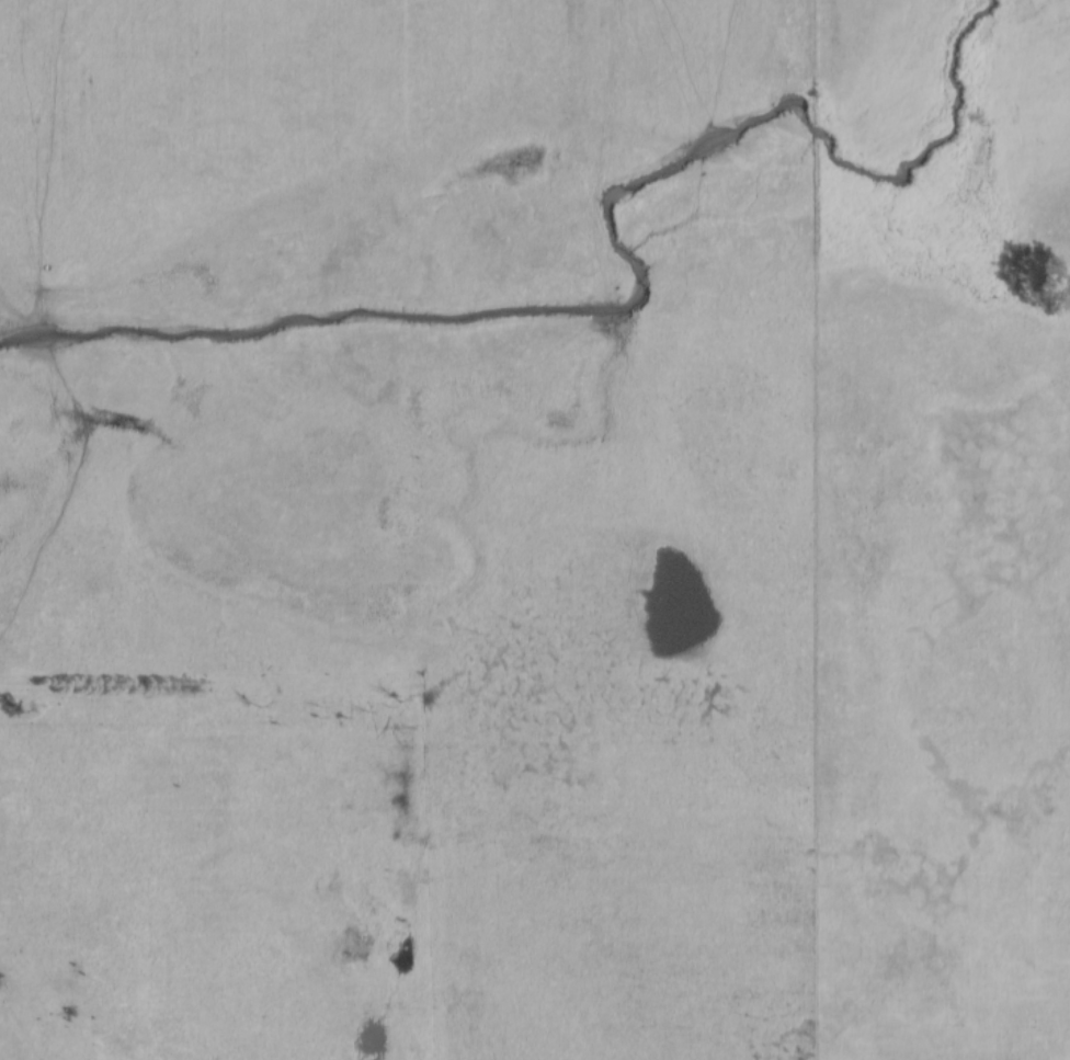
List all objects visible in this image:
river: (636, 273)

